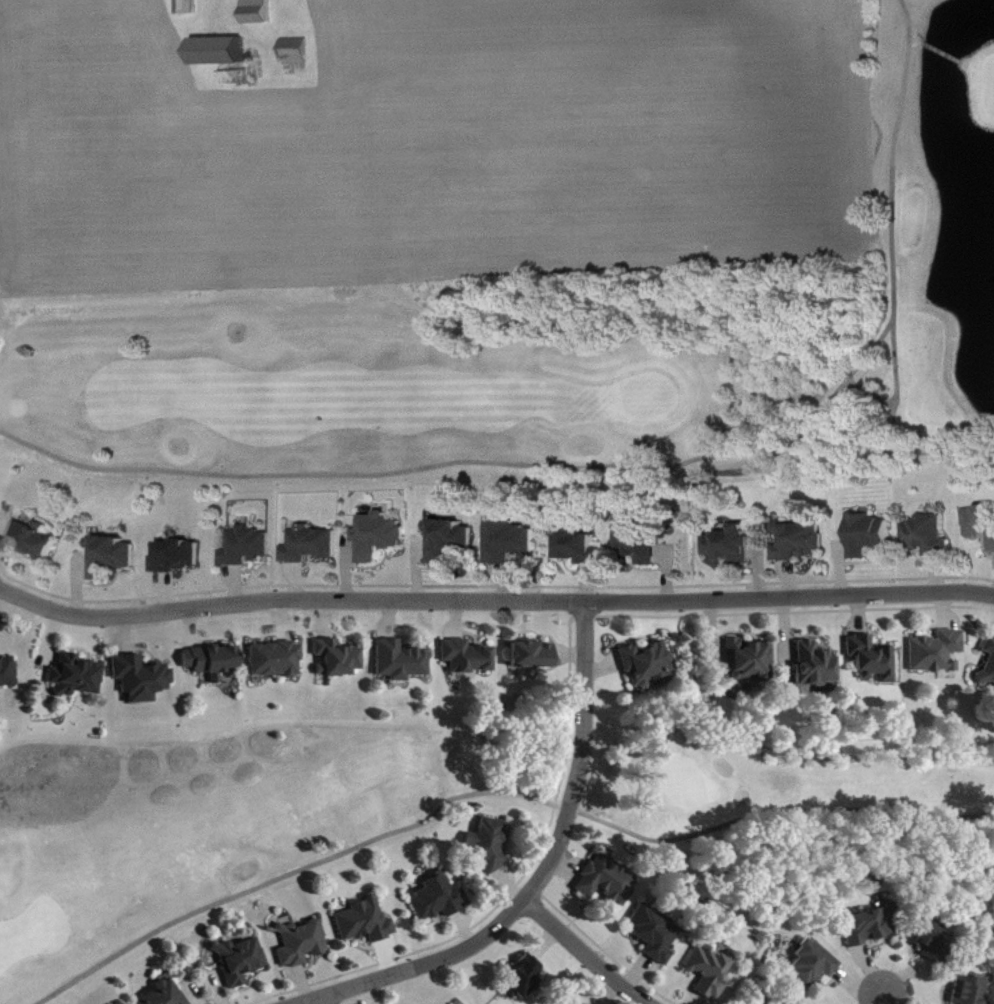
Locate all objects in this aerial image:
building: (187, 5)
building: (257, 10)
building: (293, 47)
building: (219, 48)
crop: (434, 143)
park: (573, 349)
road: (640, 466)
building: (982, 522)
building: (872, 535)
building: (383, 536)
building: (931, 536)
building: (453, 540)
building: (39, 541)
building: (512, 541)
building: (802, 541)
building: (643, 542)
building: (313, 545)
building: (736, 545)
building: (250, 547)
building: (583, 548)
building: (116, 557)
building: (182, 557)
road: (493, 602)
building: (938, 652)
building: (533, 655)
building: (468, 657)
building: (339, 659)
building: (873, 659)
building: (276, 660)
building: (213, 661)
building: (402, 661)
building: (751, 661)
building: (648, 663)
building: (989, 664)
building: (817, 665)
building: (8, 673)
building: (77, 676)
building: (142, 678)
road: (777, 811)
park: (200, 829)
building: (489, 845)
road: (301, 869)
road: (542, 873)
building: (608, 881)
building: (439, 898)
building: (366, 922)
building: (872, 926)
building: (655, 935)
building: (931, 941)
building: (300, 942)
road: (586, 952)
building: (241, 961)
building: (814, 965)
building: (709, 973)
building: (522, 980)
building: (970, 991)
building: (166, 994)
road: (881, 1000)
road: (321, 1001)

